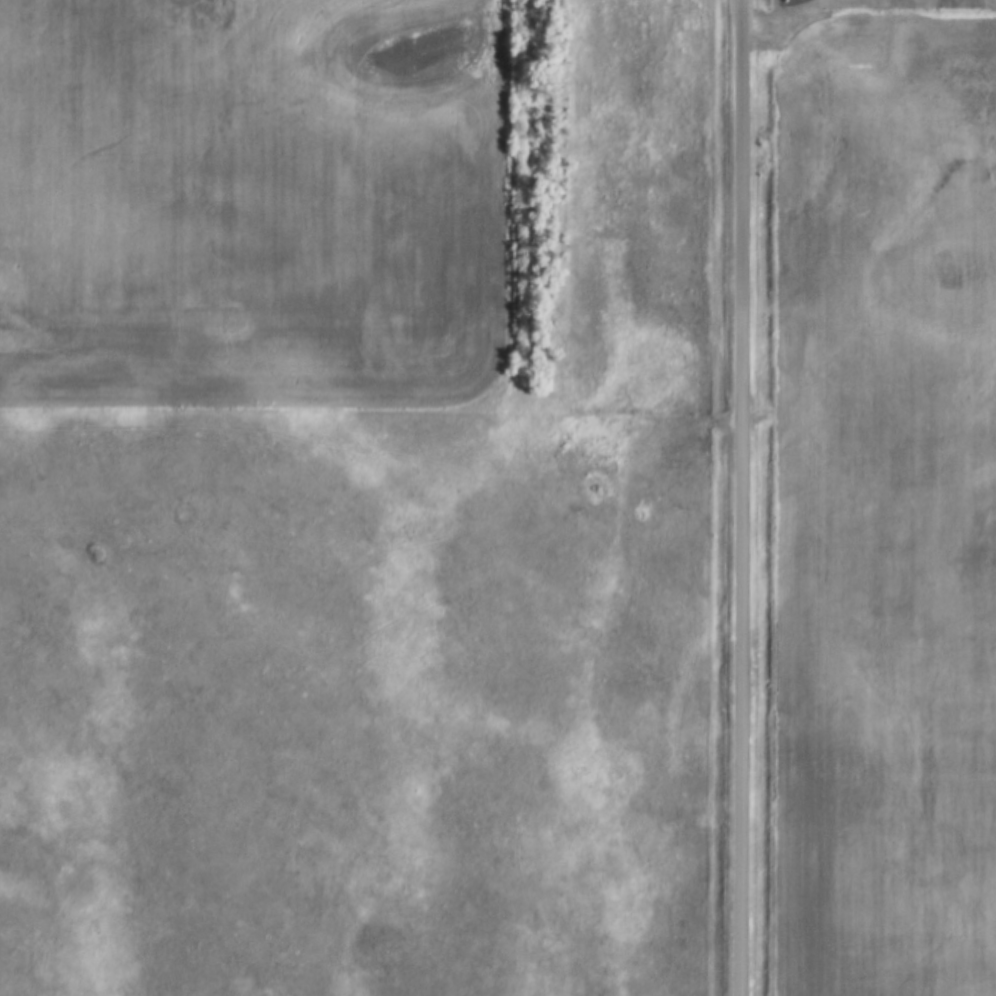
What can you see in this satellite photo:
road: (741, 497)

